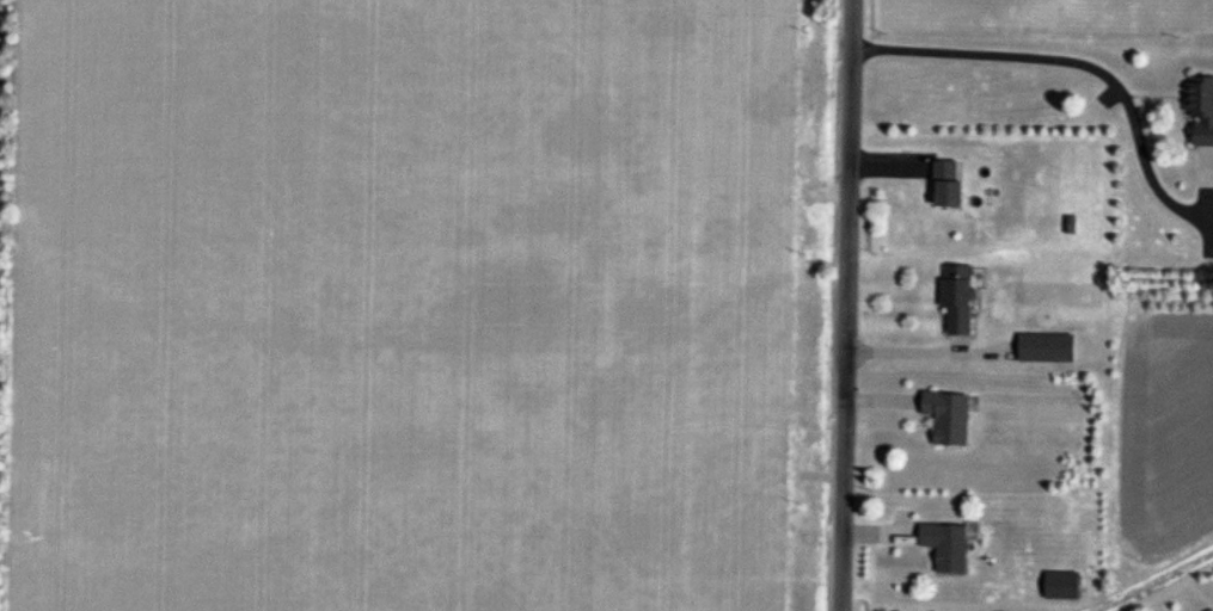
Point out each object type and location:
road: (1062, 57)
building: (1201, 109)
building: (948, 185)
building: (958, 300)
road: (841, 305)
building: (1039, 348)
building: (949, 416)
building: (948, 545)
building: (1064, 586)

